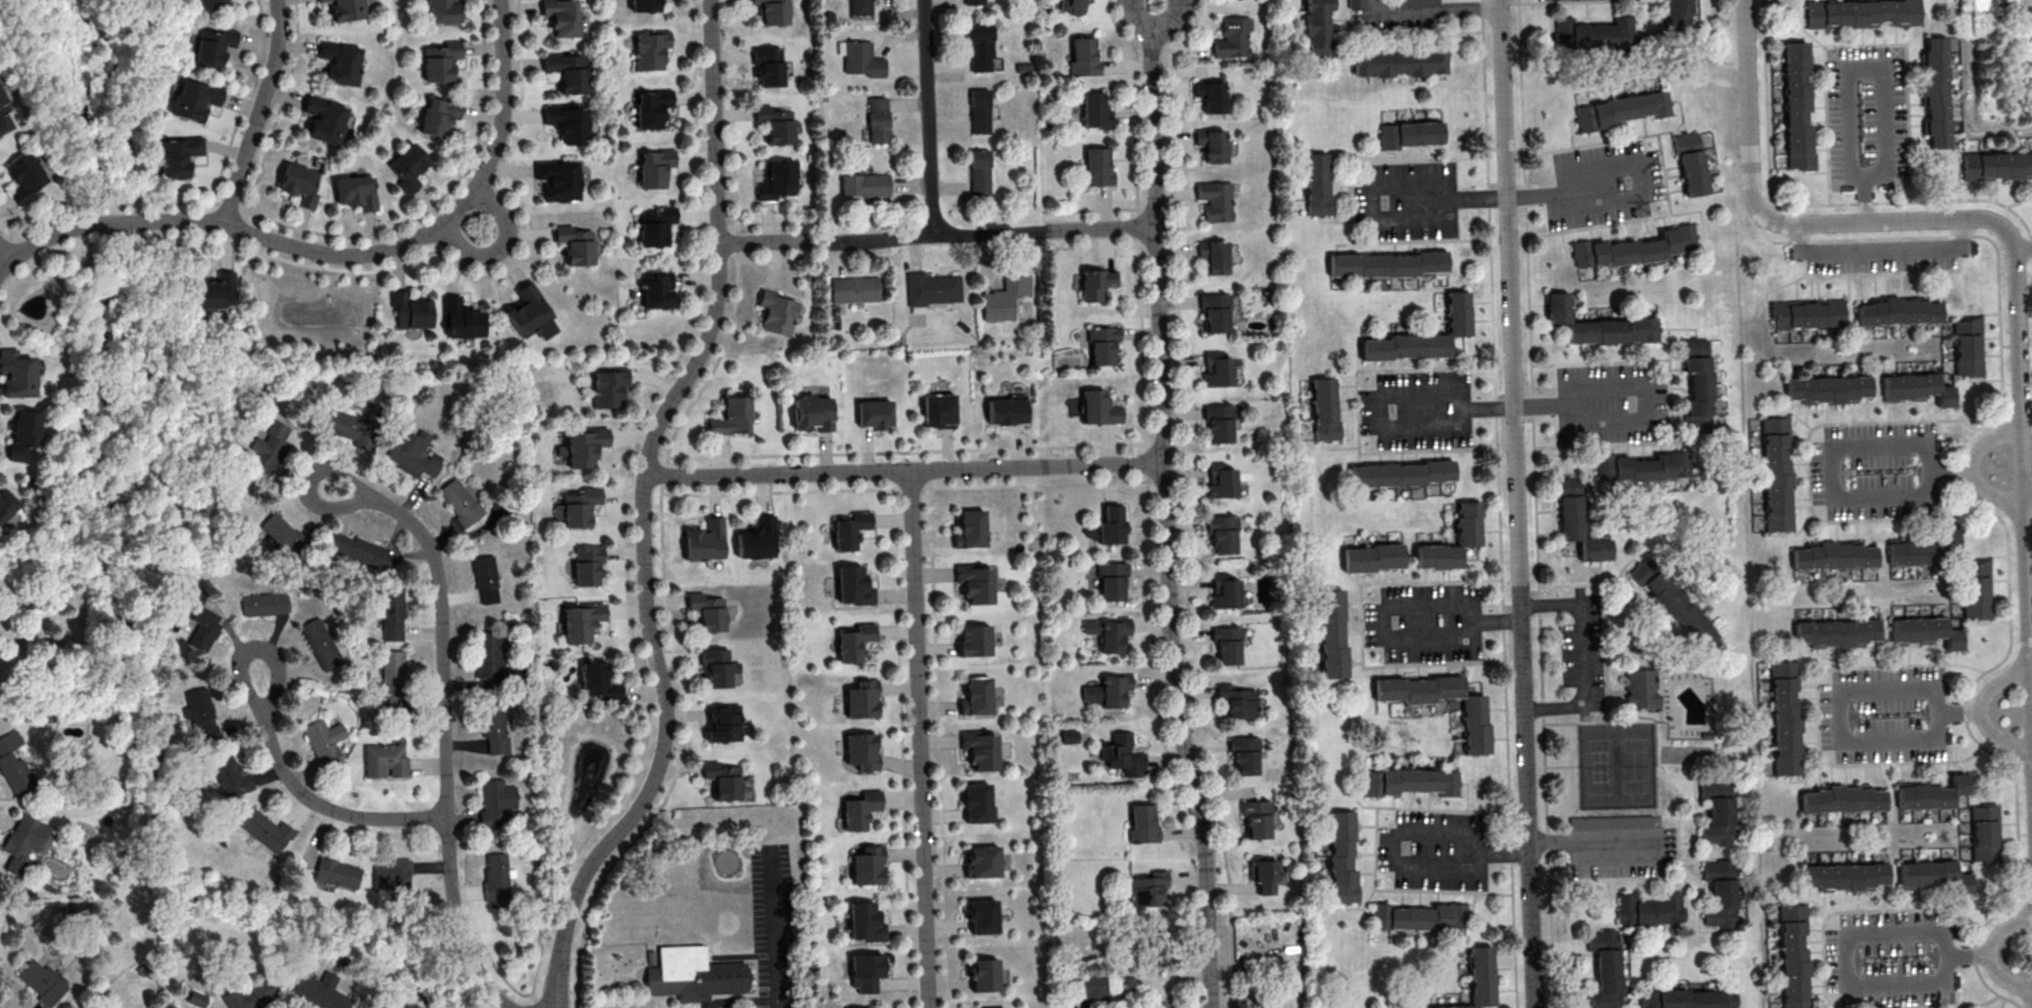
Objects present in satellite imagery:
building: (322, 0)
building: (1416, 1)
building: (974, 2)
building: (207, 4)
building: (1356, 4)
road: (1376, 4)
building: (643, 5)
building: (861, 7)
road: (1439, 9)
building: (346, 10)
building: (443, 11)
building: (771, 11)
building: (1861, 13)
building: (560, 17)
building: (1675, 17)
building: (1317, 26)
building: (1594, 34)
building: (1232, 37)
building: (213, 45)
building: (980, 47)
building: (649, 51)
building: (1084, 58)
building: (862, 60)
building: (340, 61)
building: (439, 61)
building: (1399, 63)
building: (767, 67)
building: (567, 71)
building: (1933, 92)
building: (1211, 96)
building: (195, 99)
road: (1133, 101)
building: (1795, 106)
building: (652, 109)
building: (1622, 109)
building: (979, 111)
building: (1094, 111)
road: (259, 112)
building: (4, 115)
building: (438, 117)
road: (931, 117)
building: (325, 119)
building: (877, 120)
road: (1837, 122)
building: (567, 124)
building: (775, 125)
building: (1410, 134)
road: (1883, 141)
building: (1211, 146)
building: (179, 155)
building: (1691, 161)
building: (409, 166)
building: (1996, 166)
building: (1096, 168)
building: (655, 169)
building: (979, 173)
building: (24, 177)
building: (778, 180)
building: (558, 181)
building: (300, 183)
building: (1317, 184)
building: (865, 185)
building: (356, 191)
road: (1640, 197)
road: (1923, 201)
building: (1214, 202)
road: (2018, 202)
road: (1378, 221)
building: (656, 227)
road: (997, 234)
road: (825, 239)
road: (765, 242)
building: (574, 246)
road: (504, 247)
building: (1636, 248)
road: (1880, 248)
road: (2024, 249)
road: (5, 252)
road: (336, 253)
building: (1212, 257)
building: (1386, 264)
road: (2017, 266)
building: (1097, 282)
building: (657, 289)
building: (932, 289)
building: (854, 290)
building: (218, 291)
building: (1003, 299)
building: (411, 310)
building: (1214, 311)
building: (777, 312)
building: (1896, 313)
building: (530, 314)
building: (1806, 314)
building: (461, 318)
building: (1600, 325)
building: (1422, 336)
building: (1101, 345)
building: (1967, 347)
building: (1216, 370)
building: (16, 374)
building: (1697, 386)
building: (609, 387)
building: (1915, 389)
road: (1389, 390)
building: (1827, 390)
road: (1143, 406)
building: (1098, 407)
building: (1325, 409)
building: (938, 410)
building: (1007, 410)
building: (812, 413)
building: (875, 413)
building: (732, 416)
road: (1640, 418)
building: (1217, 422)
road: (1824, 424)
road: (1513, 427)
building: (354, 429)
building: (22, 434)
building: (584, 447)
building: (270, 448)
road: (1835, 449)
road: (905, 452)
building: (413, 455)
road: (1037, 466)
building: (1642, 466)
road: (1973, 467)
building: (1775, 471)
building: (1402, 473)
road: (777, 474)
building: (1220, 481)
road: (911, 488)
road: (2028, 488)
road: (757, 493)
road: (1183, 498)
building: (6, 503)
road: (1499, 503)
building: (461, 504)
road: (1535, 504)
road: (1166, 505)
building: (580, 508)
road: (644, 511)
building: (1577, 520)
building: (1469, 523)
building: (1112, 525)
building: (969, 531)
building: (849, 532)
building: (281, 535)
building: (1221, 536)
building: (755, 540)
building: (704, 542)
building: (362, 551)
building: (1922, 552)
building: (1438, 556)
building: (1831, 556)
building: (1373, 557)
building: (587, 565)
building: (485, 579)
building: (1112, 580)
building: (973, 584)
road: (2008, 584)
building: (852, 587)
building: (1975, 590)
building: (1224, 593)
building: (1673, 601)
building: (265, 603)
road: (1392, 603)
building: (390, 612)
building: (707, 613)
building: (581, 623)
road: (439, 625)
building: (204, 627)
building: (1108, 632)
building: (1835, 633)
building: (1923, 633)
building: (1332, 634)
building: (972, 642)
building: (852, 643)
building: (321, 644)
building: (1227, 644)
building: (489, 654)
road: (1583, 655)
building: (714, 668)
road: (1834, 668)
building: (391, 682)
building: (597, 684)
building: (1641, 688)
building: (1418, 689)
building: (1108, 691)
road: (1836, 695)
building: (974, 698)
building: (860, 700)
building: (1238, 701)
road: (1981, 710)
building: (201, 713)
building: (1784, 718)
building: (722, 724)
building: (1475, 724)
building: (494, 730)
road: (2031, 732)
building: (1069, 736)
road: (920, 739)
building: (325, 743)
building: (978, 751)
building: (860, 753)
building: (1245, 754)
building: (1122, 755)
building: (384, 761)
building: (15, 763)
park: (1600, 767)
park: (1635, 768)
building: (230, 775)
building: (723, 781)
building: (1410, 781)
building: (1929, 795)
road: (312, 800)
building: (1840, 801)
building: (496, 803)
building: (976, 805)
building: (859, 811)
building: (1717, 812)
building: (1258, 818)
building: (1611, 821)
building: (1143, 823)
road: (2016, 827)
building: (266, 831)
building: (1983, 833)
road: (1595, 841)
building: (24, 842)
building: (1343, 857)
building: (981, 864)
road: (1401, 865)
building: (866, 867)
building: (337, 873)
building: (1264, 873)
building: (391, 876)
building: (1932, 877)
building: (1843, 878)
building: (497, 881)
building: (1147, 889)
building: (1720, 892)
road: (1966, 908)
building: (1649, 909)
building: (981, 917)
building: (1420, 917)
road: (456, 921)
building: (864, 924)
road: (2002, 927)
road: (1531, 931)
road: (775, 936)
road: (1843, 938)
building: (1164, 941)
building: (1793, 955)
building: (652, 956)
building: (1605, 968)
building: (693, 973)
building: (865, 973)
building: (1482, 975)
building: (983, 976)
road: (2005, 977)
building: (43, 981)
building: (1088, 986)
building: (319, 991)
building: (250, 995)
building: (197, 998)
building: (1688, 999)
road: (2006, 1000)
building: (1454, 1006)

